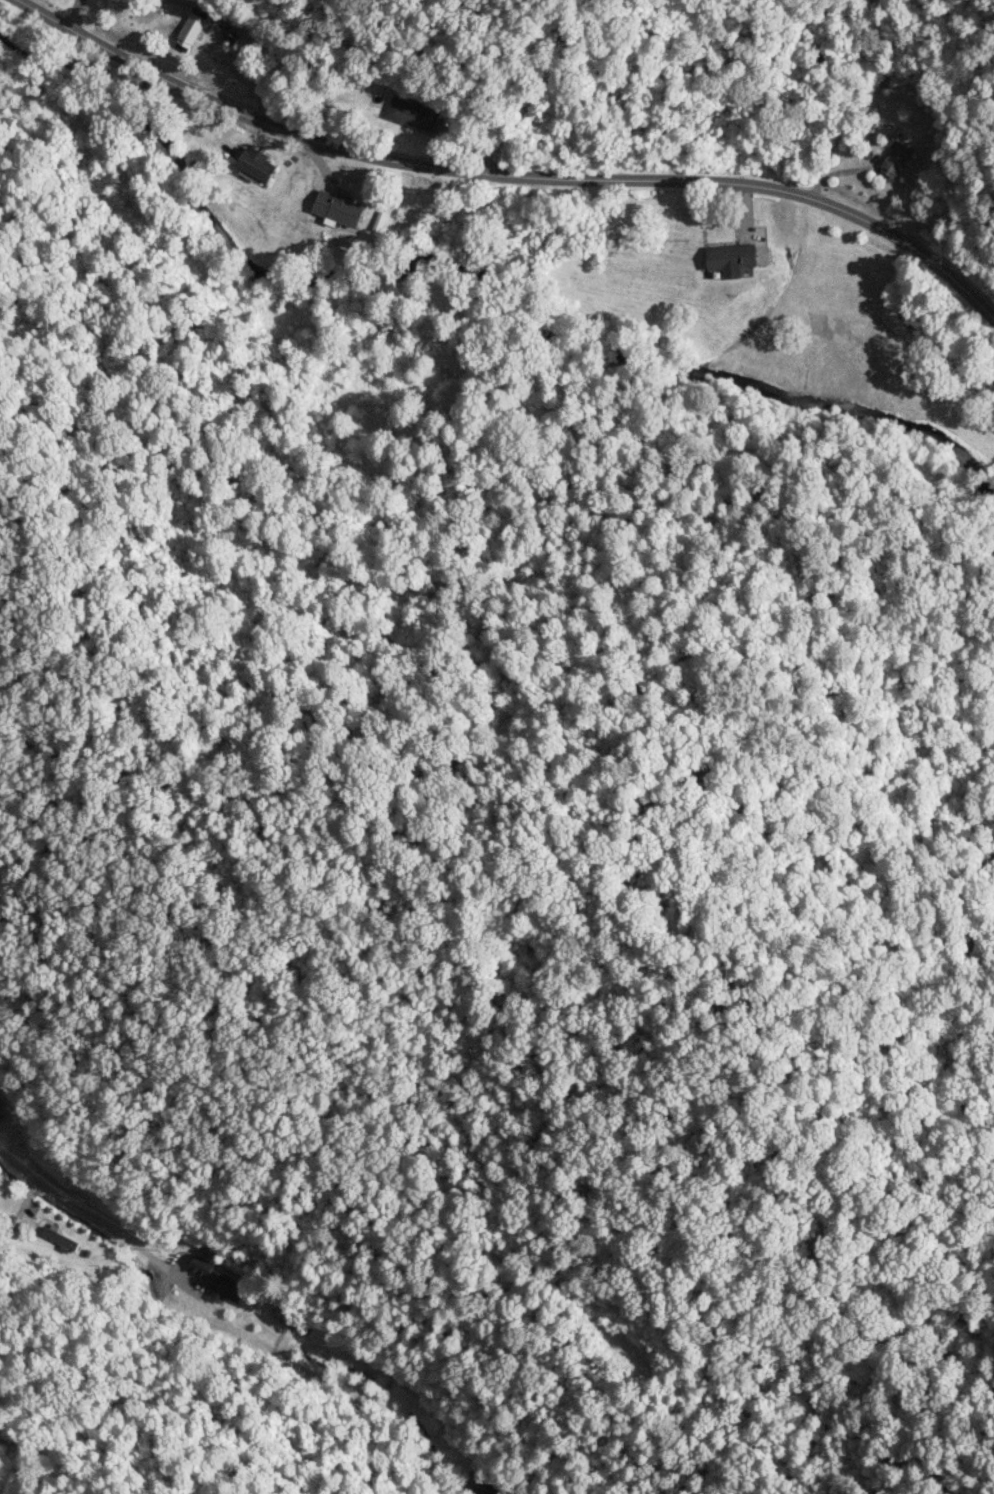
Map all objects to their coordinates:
building: (193, 30)
building: (414, 115)
building: (891, 164)
building: (260, 166)
road: (509, 169)
building: (340, 209)
building: (726, 258)
building: (0, 1119)
road: (81, 1216)

